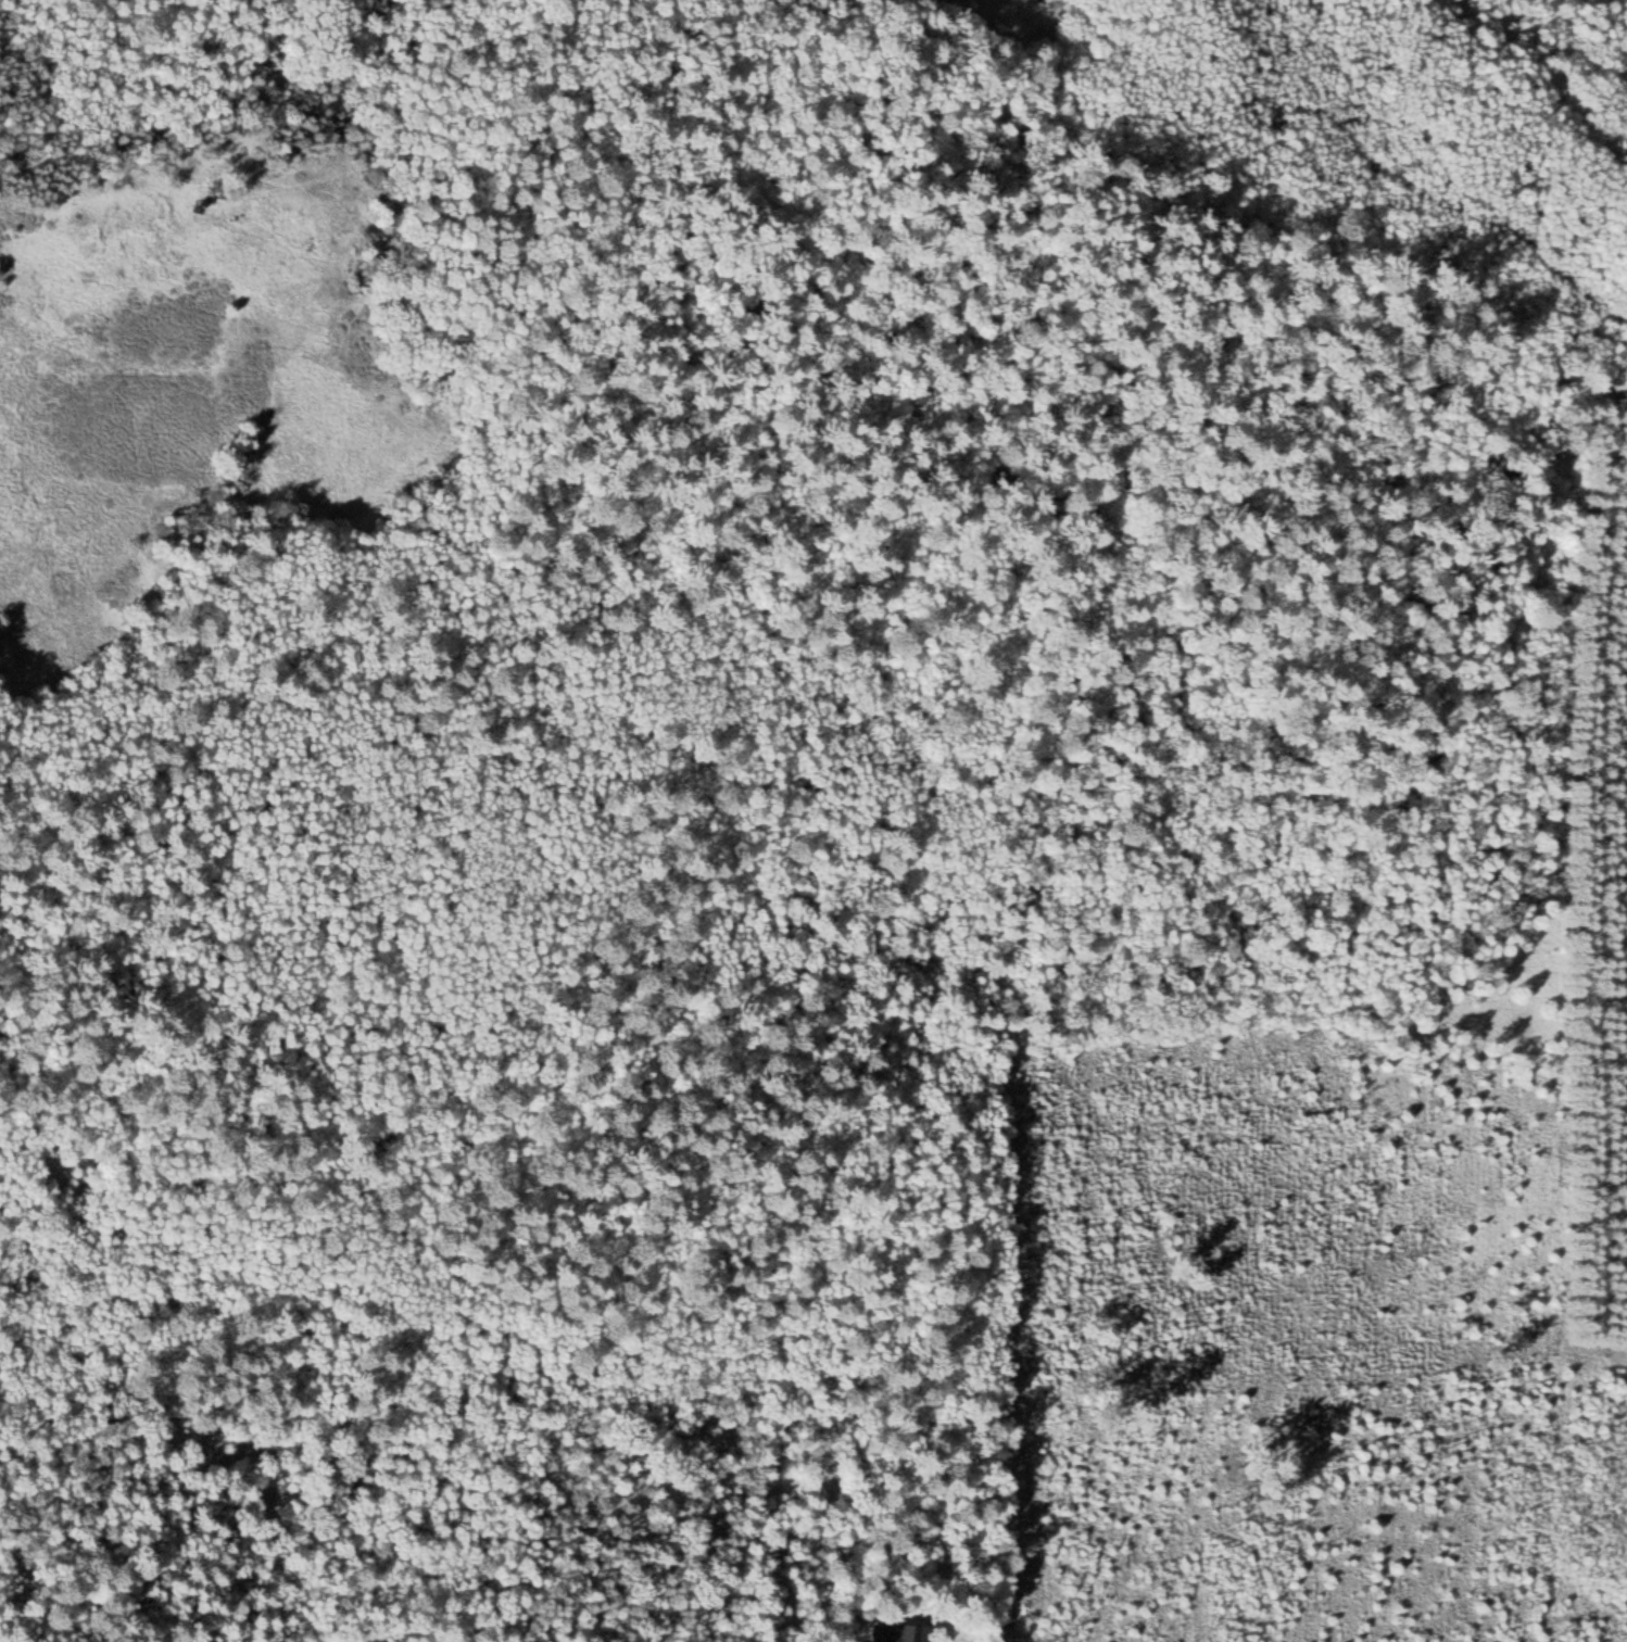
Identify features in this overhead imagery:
building: (903, 1633)

